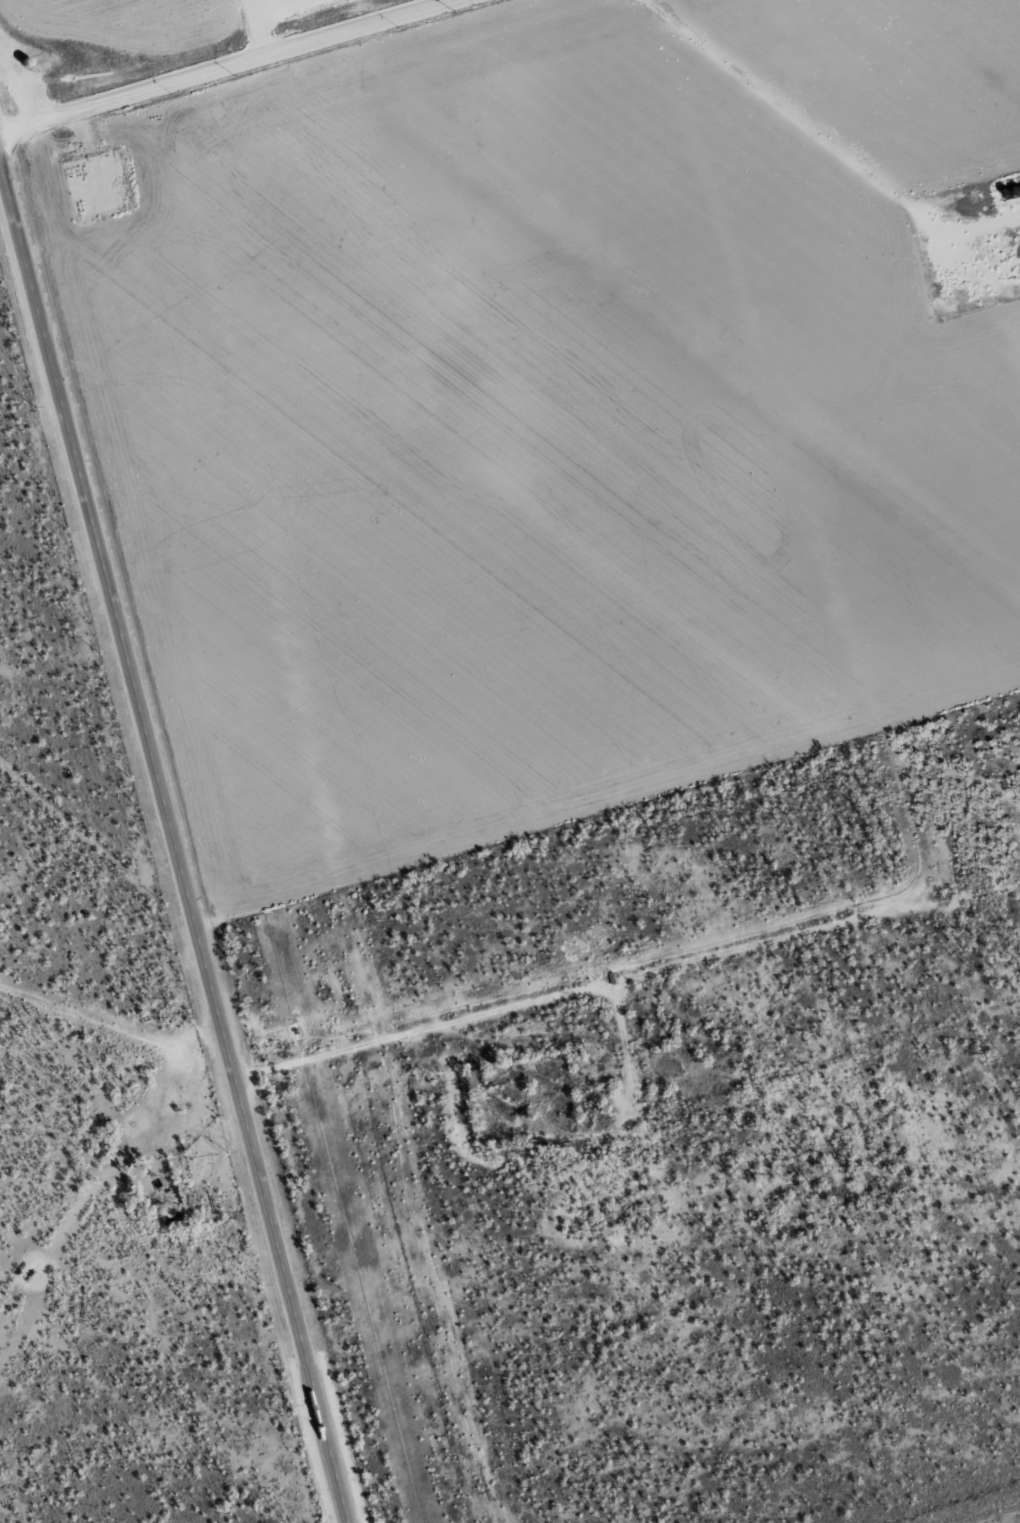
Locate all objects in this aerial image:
road: (233, 67)
road: (171, 854)

